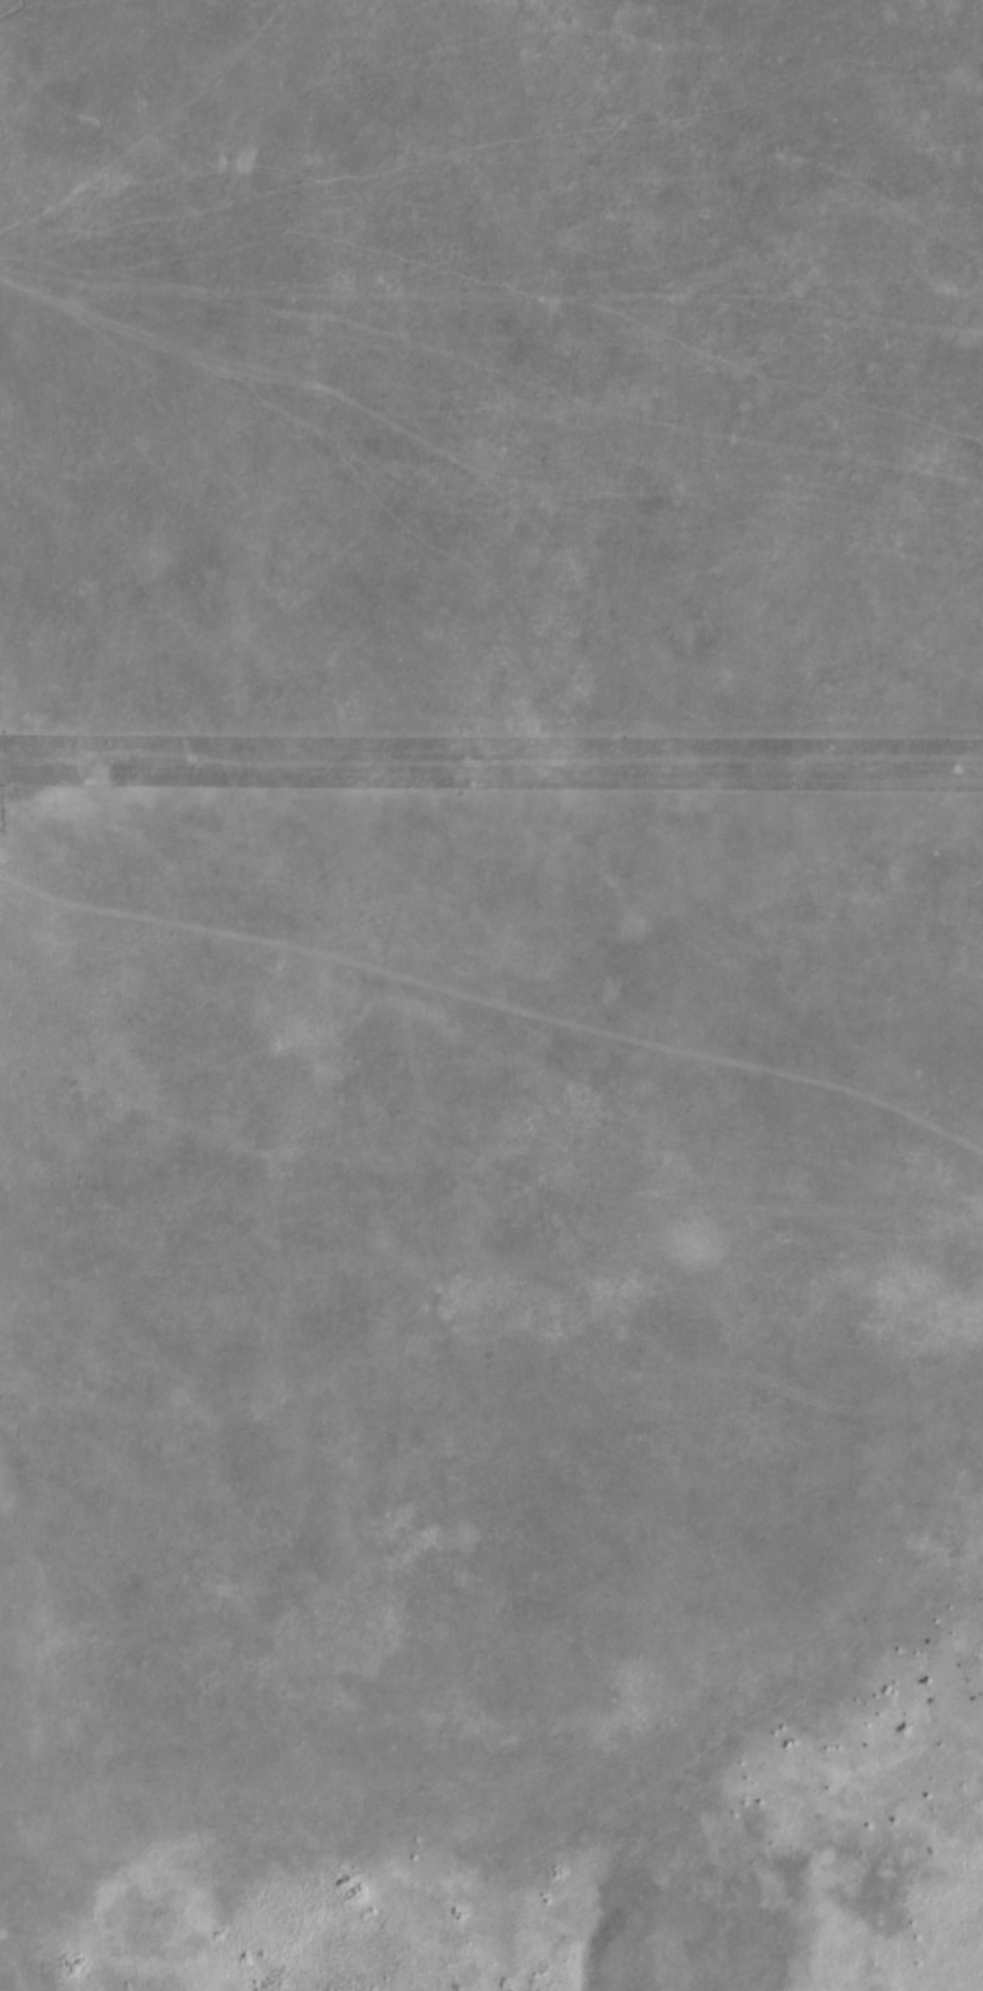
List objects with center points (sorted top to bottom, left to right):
road: (491, 750)

